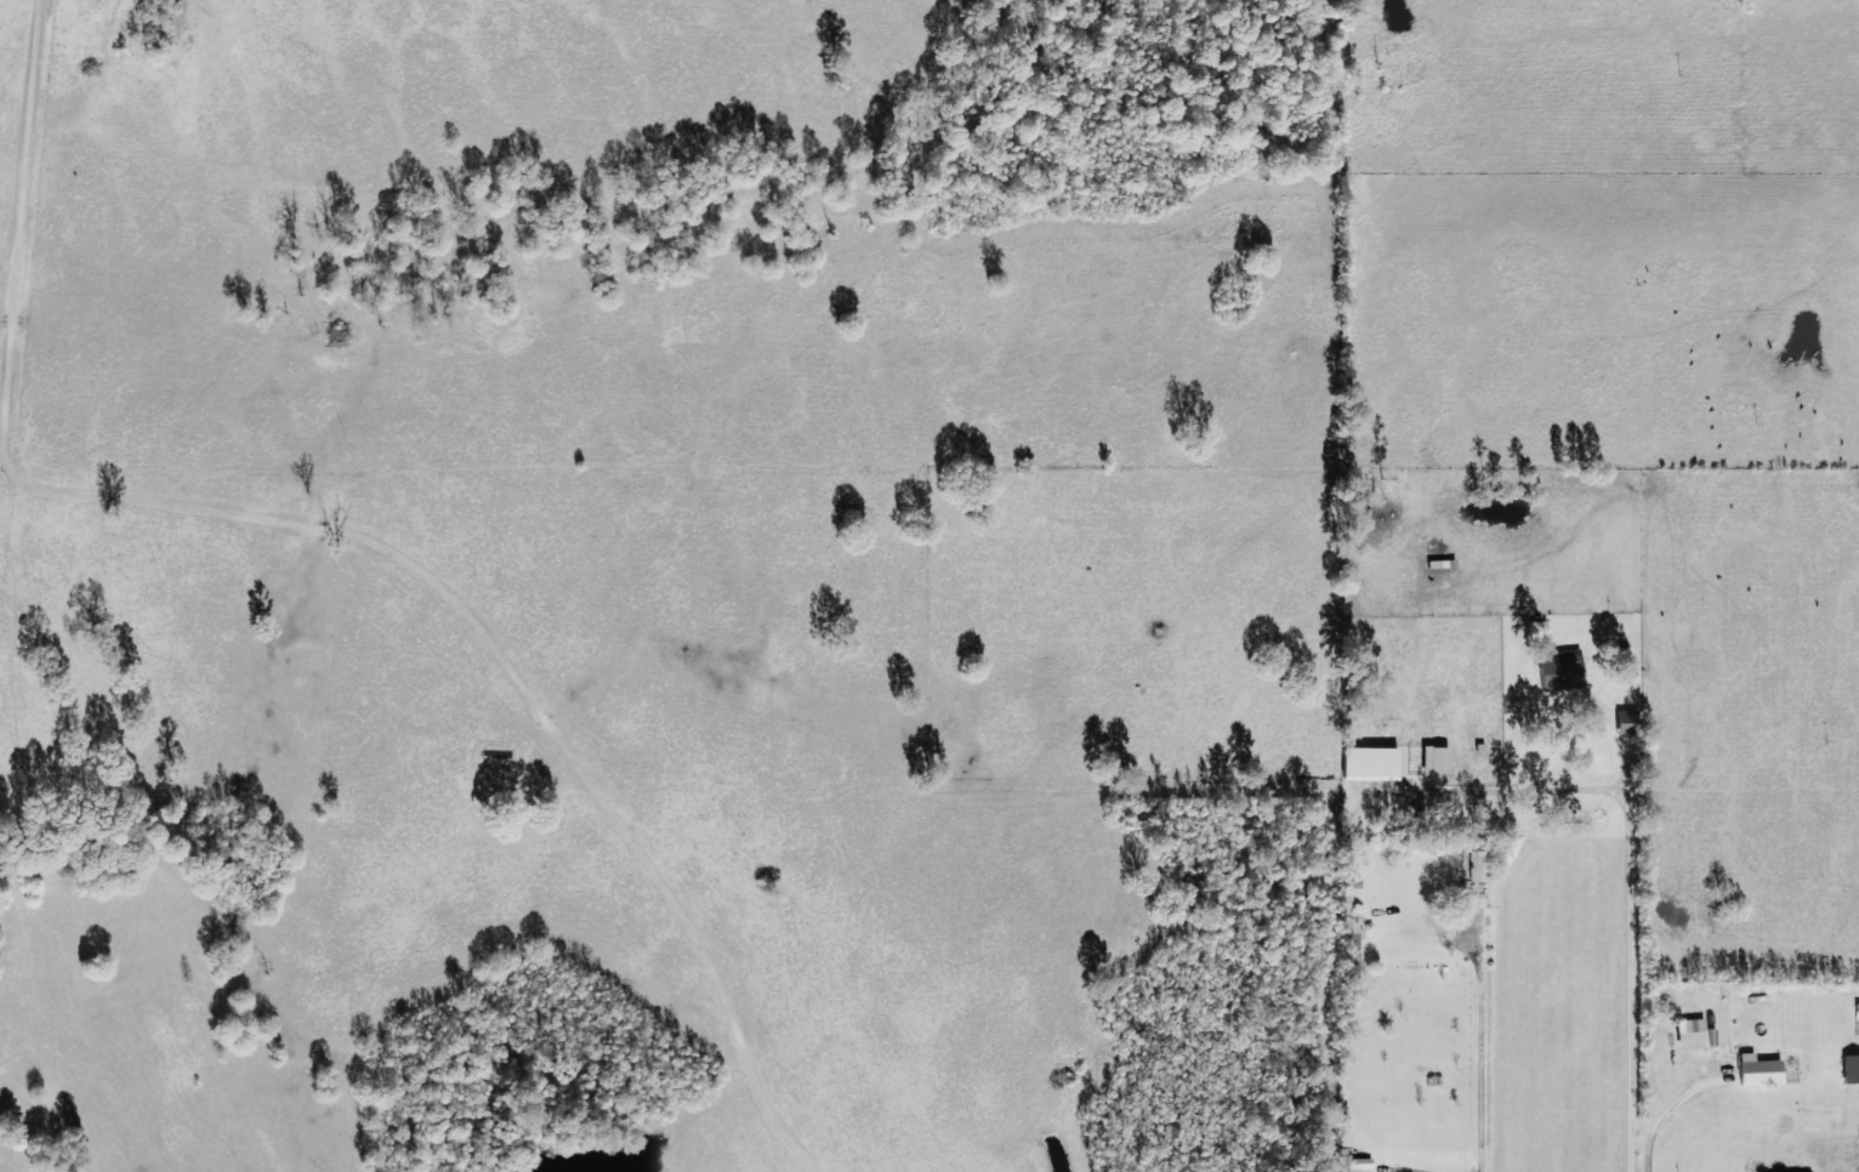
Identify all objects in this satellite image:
building: (1562, 669)
building: (1627, 721)
building: (1434, 758)
building: (1370, 762)
building: (1476, 865)
building: (1694, 1034)
building: (1851, 1068)
building: (1758, 1070)
building: (1359, 1165)

